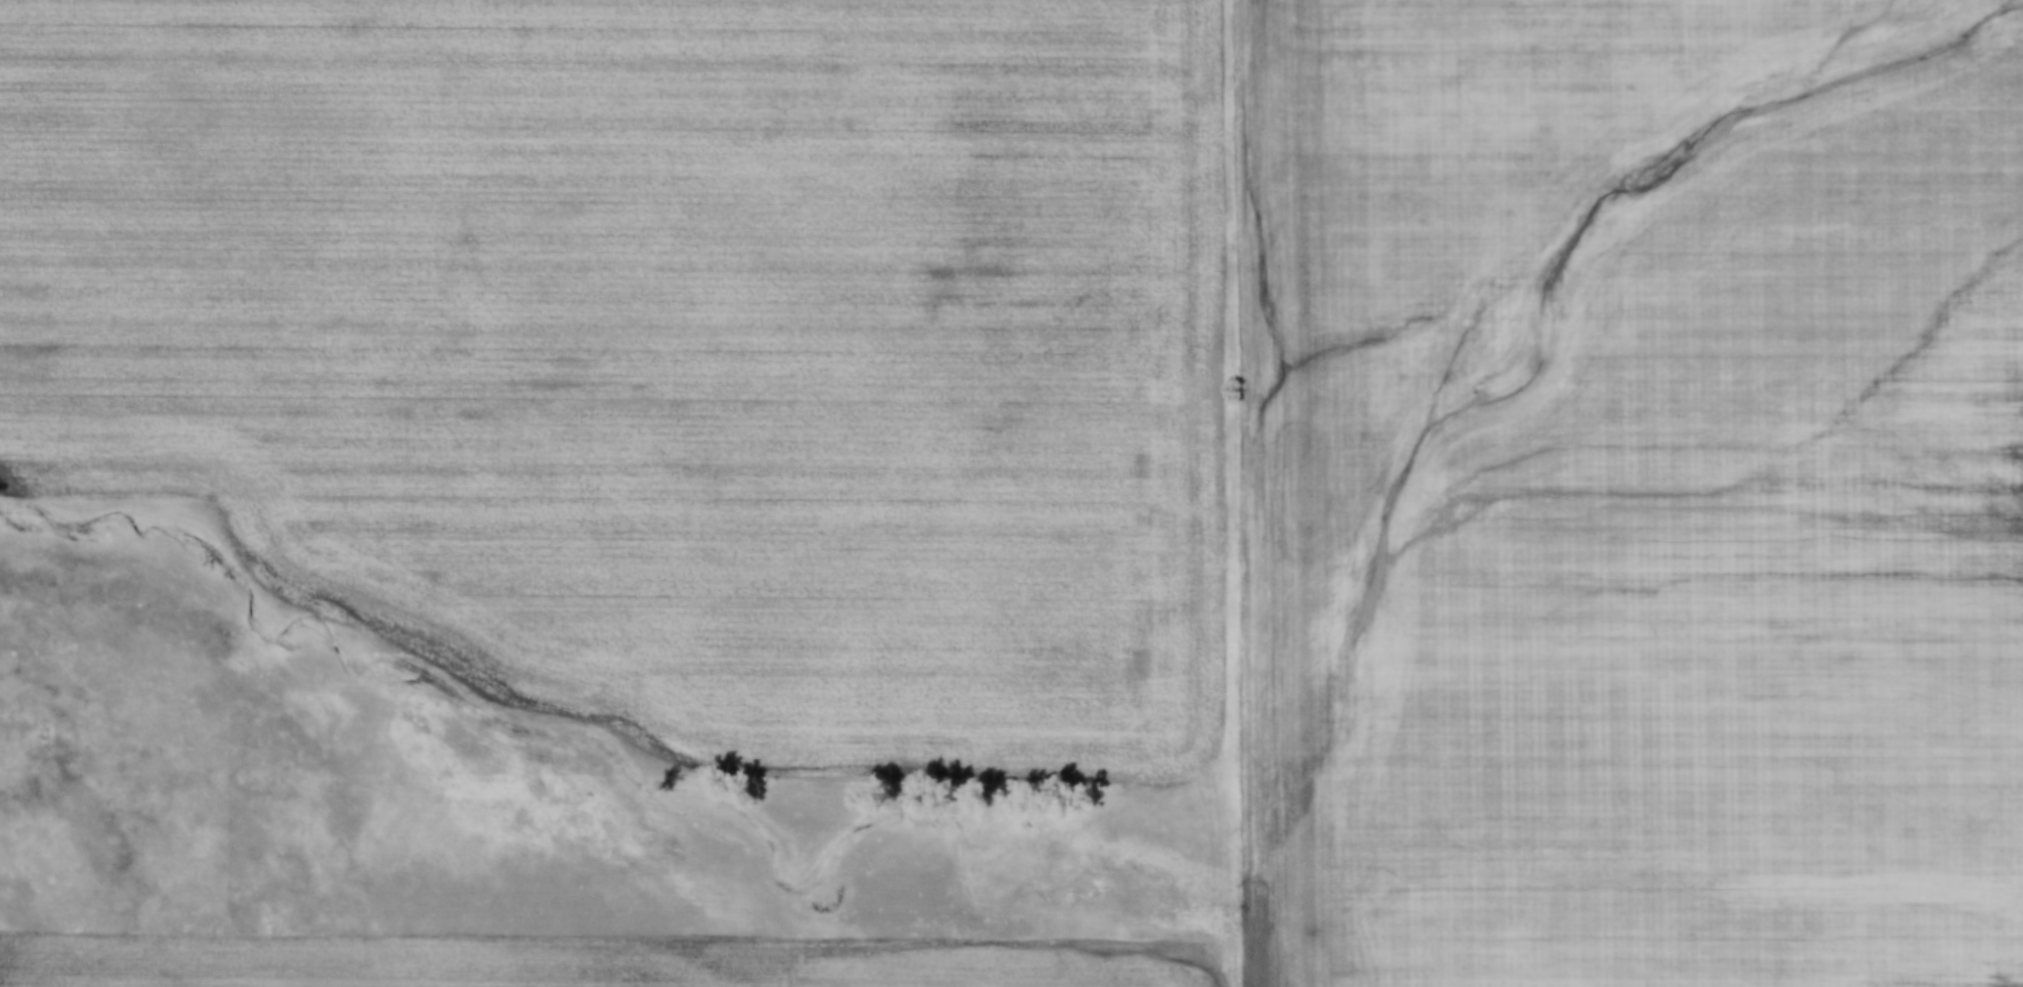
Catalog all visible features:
crop: (654, 348)
crop: (584, 964)

